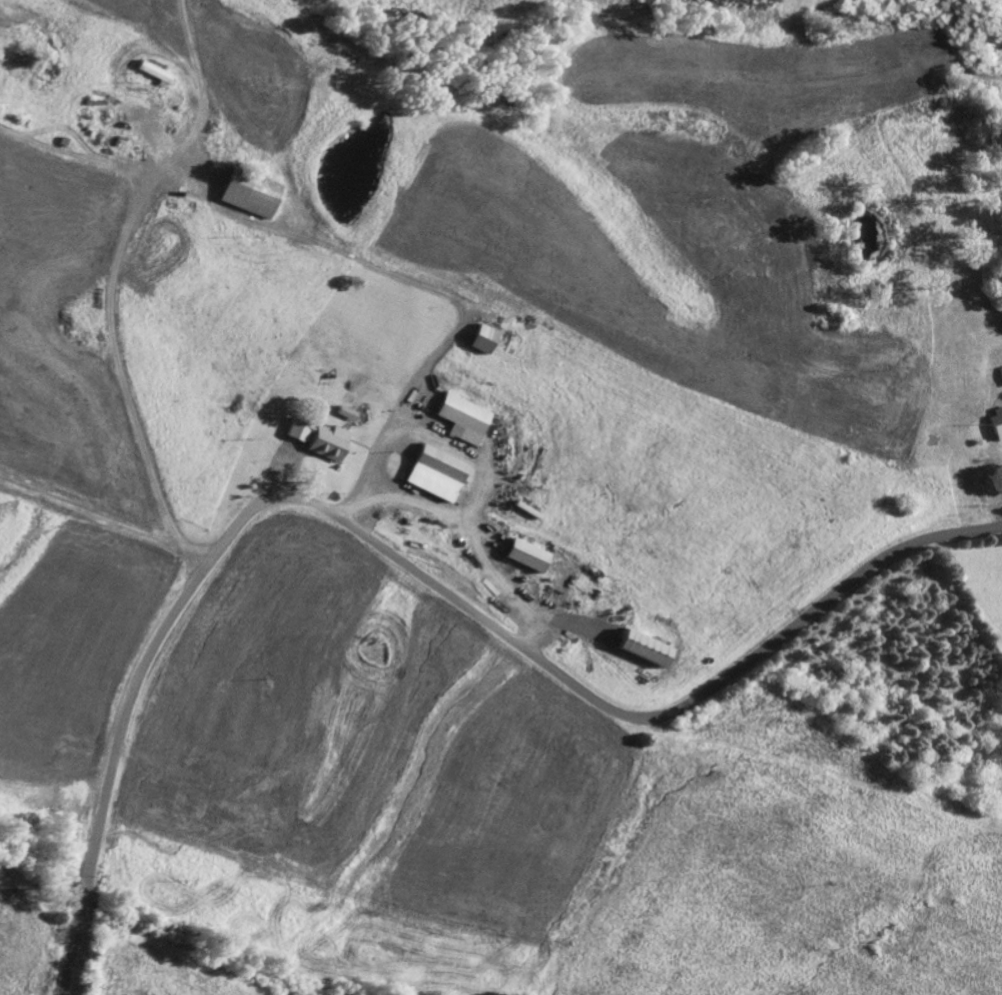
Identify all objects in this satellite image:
building: (153, 72)
building: (248, 194)
building: (481, 339)
road: (116, 347)
building: (1001, 372)
building: (462, 419)
building: (996, 424)
building: (318, 440)
building: (434, 474)
road: (106, 521)
building: (523, 556)
road: (404, 562)
building: (639, 650)

